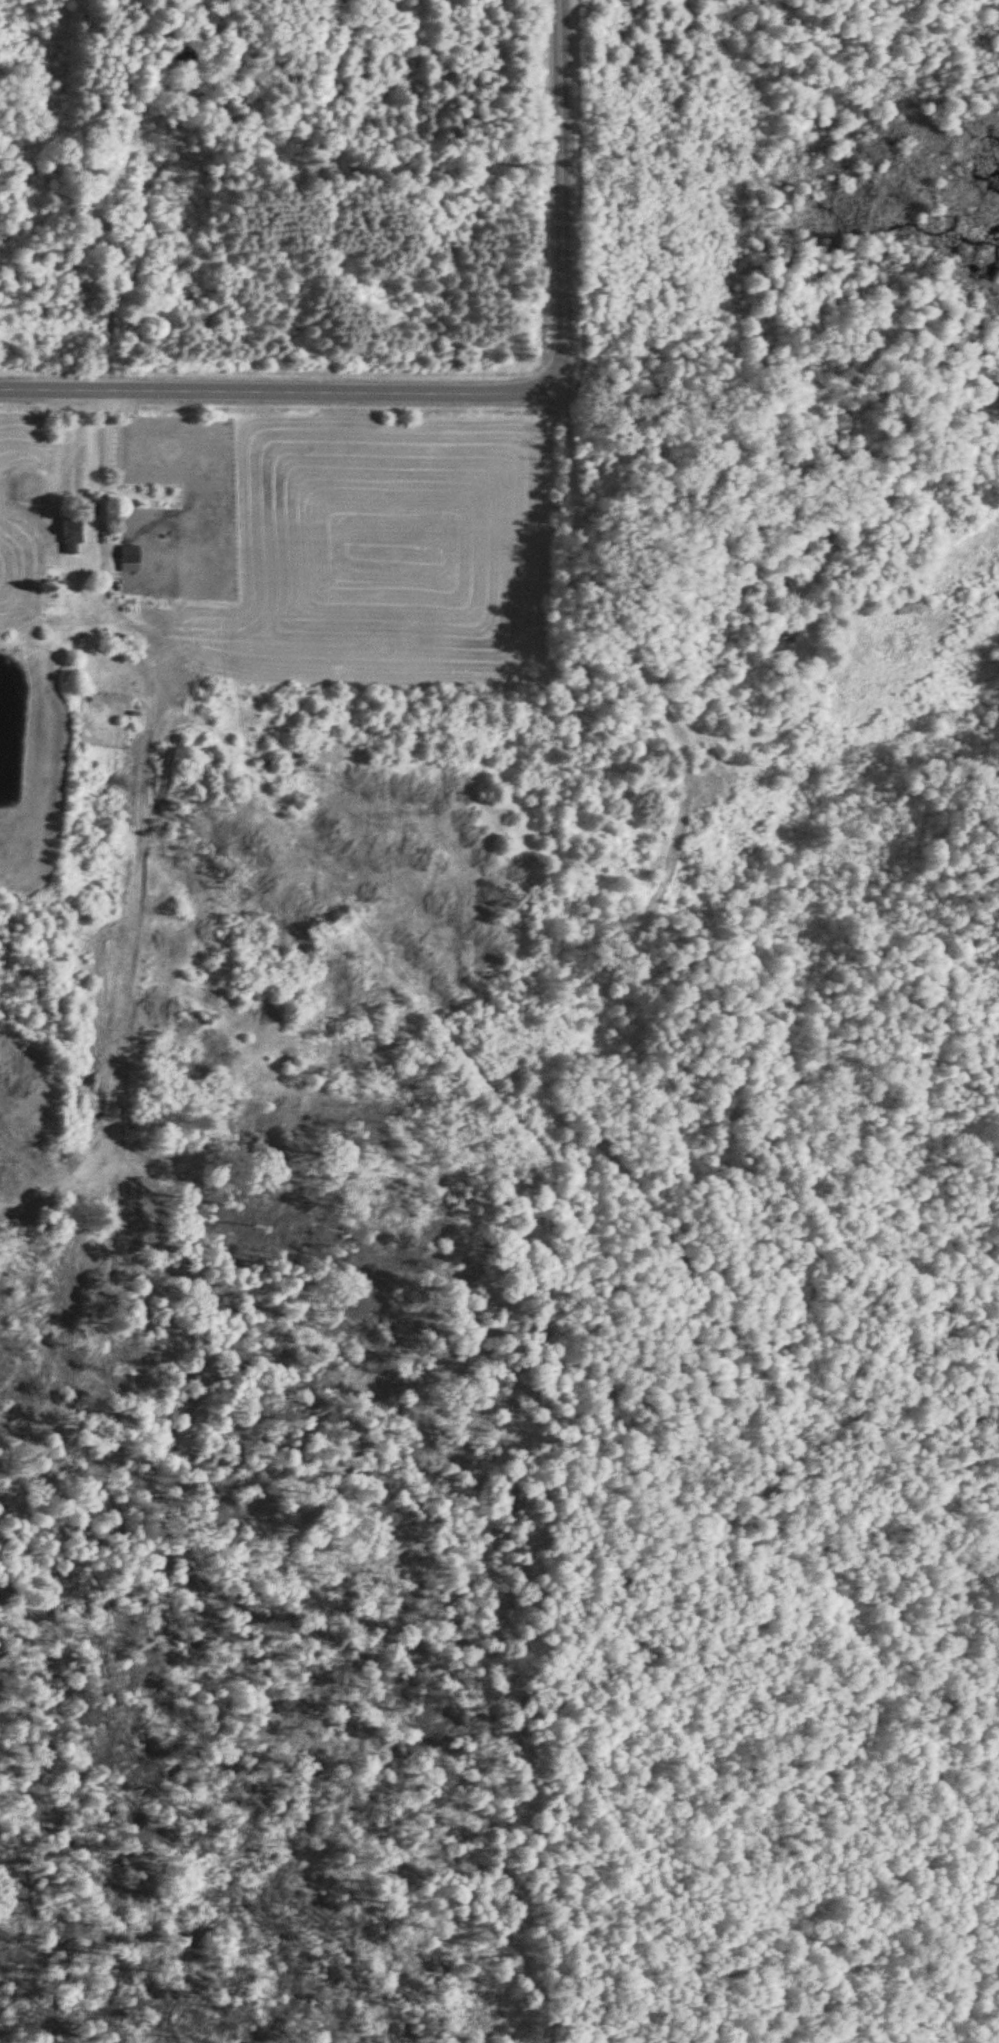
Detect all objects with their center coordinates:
road: (558, 173)
building: (118, 226)
building: (184, 298)
road: (560, 368)
road: (280, 388)
road: (101, 462)
building: (70, 534)
building: (128, 559)
building: (782, 636)
building: (693, 789)

